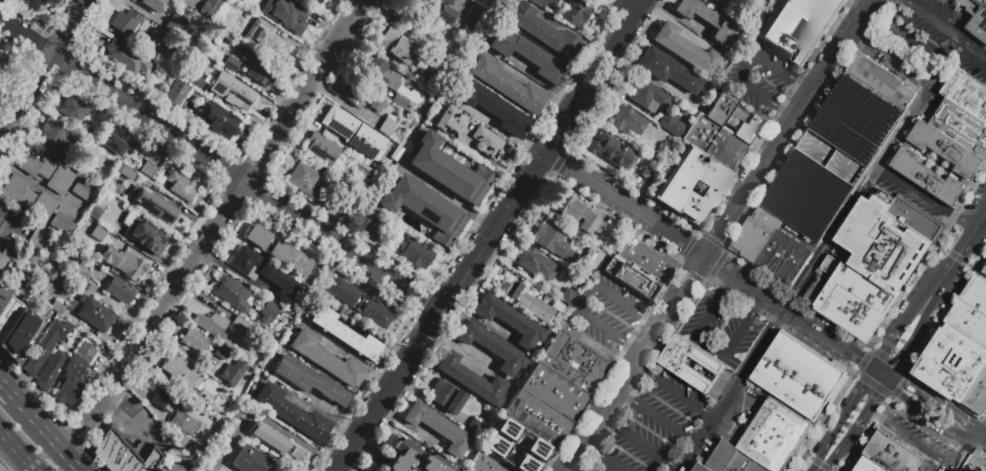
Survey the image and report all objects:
building: (476, 0)
building: (441, 1)
building: (715, 1)
building: (313, 2)
building: (541, 2)
building: (31, 3)
building: (151, 5)
road: (629, 5)
building: (209, 7)
road: (895, 12)
building: (727, 13)
building: (283, 14)
building: (446, 14)
building: (575, 14)
building: (975, 17)
road: (933, 19)
building: (706, 20)
building: (125, 22)
building: (174, 23)
building: (142, 26)
building: (466, 28)
building: (773, 30)
building: (543, 31)
parking lot: (932, 37)
road: (24, 38)
building: (262, 38)
road: (914, 40)
building: (398, 46)
road: (969, 46)
building: (684, 48)
road: (951, 48)
building: (528, 55)
road: (891, 56)
building: (127, 57)
building: (0, 58)
road: (980, 60)
road: (64, 64)
building: (230, 64)
road: (43, 65)
road: (746, 66)
building: (259, 68)
building: (667, 69)
road: (944, 69)
building: (379, 72)
road: (595, 75)
road: (967, 77)
parking lot: (761, 79)
building: (195, 81)
building: (884, 81)
building: (506, 84)
road: (838, 85)
road: (805, 86)
building: (231, 90)
building: (175, 94)
building: (647, 94)
building: (966, 94)
building: (359, 96)
road: (855, 97)
building: (400, 101)
building: (70, 107)
building: (493, 108)
road: (787, 113)
road: (896, 114)
building: (735, 119)
building: (627, 120)
building: (220, 121)
building: (339, 122)
building: (451, 122)
building: (670, 123)
building: (386, 125)
building: (961, 126)
building: (60, 135)
building: (116, 140)
building: (366, 142)
building: (488, 143)
building: (716, 144)
building: (945, 148)
building: (613, 151)
building: (395, 153)
building: (325, 155)
building: (832, 157)
parking lot: (832, 157)
building: (148, 169)
building: (364, 169)
building: (45, 170)
building: (448, 171)
building: (927, 177)
building: (304, 179)
road: (35, 182)
building: (674, 183)
building: (181, 186)
road: (240, 188)
road: (770, 188)
building: (118, 189)
building: (83, 191)
road: (969, 191)
road: (258, 192)
road: (915, 192)
road: (859, 195)
building: (27, 197)
road: (446, 197)
road: (625, 203)
building: (163, 209)
building: (423, 209)
building: (94, 212)
building: (578, 213)
building: (916, 218)
road: (980, 220)
road: (13, 223)
road: (963, 223)
building: (361, 224)
building: (62, 226)
road: (820, 230)
building: (98, 232)
building: (145, 235)
road: (717, 235)
building: (883, 239)
building: (554, 243)
road: (965, 244)
building: (770, 247)
road: (940, 248)
building: (277, 250)
building: (416, 254)
building: (597, 255)
building: (642, 256)
road: (954, 257)
building: (124, 263)
building: (537, 264)
building: (4, 266)
building: (581, 268)
road: (975, 269)
building: (262, 272)
building: (984, 272)
building: (631, 279)
building: (80, 280)
road: (909, 282)
road: (940, 282)
road: (728, 283)
building: (119, 290)
building: (89, 291)
building: (97, 291)
building: (5, 293)
building: (231, 293)
building: (976, 295)
building: (567, 296)
road: (584, 296)
building: (850, 299)
building: (525, 300)
building: (358, 303)
road: (759, 304)
building: (70, 305)
building: (57, 307)
building: (265, 309)
road: (440, 309)
parking lot: (607, 311)
road: (788, 311)
building: (94, 313)
road: (947, 313)
road: (912, 314)
building: (9, 315)
road: (650, 318)
road: (921, 319)
road: (476, 320)
building: (508, 320)
building: (211, 323)
building: (969, 323)
building: (239, 326)
parking lot: (723, 327)
building: (344, 334)
building: (19, 336)
building: (194, 339)
building: (47, 344)
road: (886, 344)
road: (709, 345)
road: (633, 346)
building: (492, 347)
building: (221, 352)
road: (2, 355)
road: (903, 355)
building: (573, 358)
building: (326, 359)
road: (863, 361)
road: (889, 361)
building: (689, 363)
building: (952, 364)
building: (51, 368)
building: (180, 369)
road: (871, 370)
road: (881, 372)
building: (232, 373)
building: (73, 375)
building: (798, 376)
building: (470, 379)
building: (310, 380)
road: (113, 382)
road: (874, 385)
road: (900, 385)
road: (7, 389)
building: (555, 389)
road: (673, 389)
road: (730, 389)
road: (857, 389)
road: (108, 391)
road: (898, 392)
building: (447, 396)
building: (977, 396)
building: (162, 400)
road: (936, 400)
road: (112, 401)
road: (779, 401)
road: (873, 402)
building: (291, 412)
road: (655, 417)
building: (537, 418)
road: (822, 420)
road: (936, 420)
road: (839, 421)
building: (183, 422)
road: (267, 422)
road: (86, 424)
road: (134, 425)
parking lot: (656, 425)
building: (439, 427)
building: (474, 427)
building: (505, 428)
road: (983, 430)
road: (48, 434)
road: (869, 434)
building: (775, 435)
building: (267, 437)
road: (912, 441)
road: (638, 442)
road: (973, 443)
building: (494, 445)
road: (971, 446)
road: (839, 447)
building: (535, 448)
road: (823, 449)
road: (17, 450)
building: (195, 450)
building: (296, 452)
building: (123, 453)
road: (806, 455)
building: (894, 455)
road: (602, 457)
building: (413, 458)
building: (732, 460)
building: (253, 461)
building: (485, 463)
building: (523, 464)
road: (819, 464)
building: (868, 465)
building: (2, 468)
road: (209, 468)
building: (701, 468)
road: (818, 468)
building: (587, 469)
road: (828, 470)

